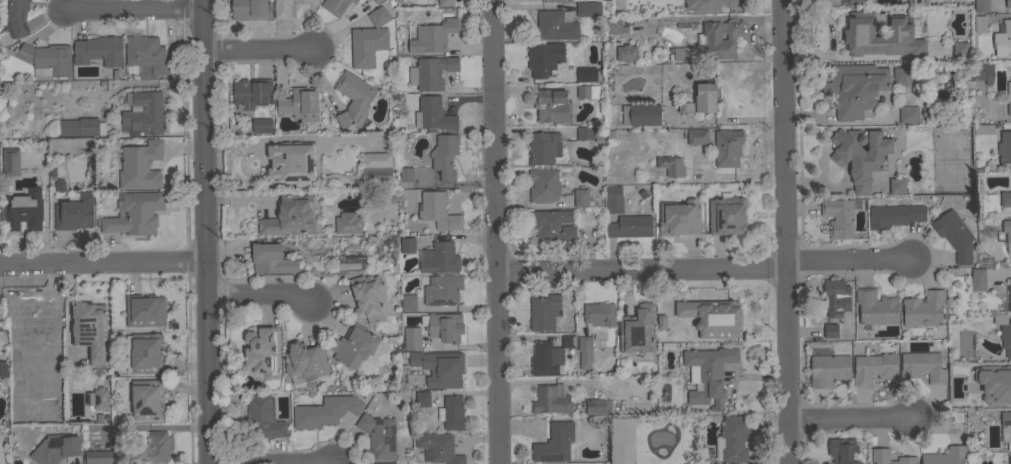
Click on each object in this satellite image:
building: (372, 1)
building: (378, 1)
building: (445, 2)
building: (858, 2)
building: (1008, 3)
building: (708, 4)
building: (981, 5)
building: (336, 6)
building: (285, 7)
building: (250, 9)
building: (588, 9)
road: (129, 10)
building: (16, 18)
building: (980, 24)
building: (556, 25)
building: (614, 25)
building: (689, 25)
building: (432, 36)
building: (880, 36)
building: (369, 39)
building: (720, 39)
building: (1004, 39)
building: (99, 50)
building: (960, 50)
building: (626, 52)
building: (146, 53)
road: (257, 53)
building: (683, 53)
building: (544, 58)
building: (47, 59)
building: (431, 72)
building: (978, 72)
building: (586, 74)
building: (903, 75)
building: (610, 77)
building: (855, 88)
building: (587, 91)
building: (251, 93)
building: (1009, 98)
building: (354, 99)
building: (701, 100)
building: (299, 104)
building: (553, 106)
building: (679, 108)
building: (144, 112)
building: (433, 114)
building: (908, 114)
building: (641, 115)
building: (262, 125)
building: (82, 126)
building: (983, 129)
building: (584, 132)
building: (697, 136)
road: (286, 137)
building: (727, 147)
building: (1004, 147)
building: (544, 148)
building: (444, 155)
building: (861, 155)
building: (28, 160)
building: (9, 162)
building: (291, 163)
building: (140, 165)
building: (671, 165)
building: (376, 168)
building: (406, 174)
building: (1010, 174)
building: (60, 185)
building: (544, 185)
building: (897, 185)
building: (581, 197)
building: (1005, 198)
building: (613, 200)
building: (23, 210)
building: (437, 210)
building: (74, 211)
building: (134, 213)
building: (727, 215)
building: (894, 215)
building: (840, 216)
building: (290, 217)
building: (679, 217)
building: (347, 222)
building: (552, 224)
building: (630, 226)
road: (50, 229)
building: (1007, 229)
road: (493, 231)
road: (783, 231)
road: (205, 232)
building: (954, 235)
building: (408, 245)
building: (439, 258)
building: (271, 259)
road: (846, 260)
building: (349, 262)
road: (102, 264)
road: (639, 269)
building: (978, 279)
building: (442, 289)
building: (1009, 293)
road: (260, 294)
building: (368, 297)
building: (836, 297)
building: (408, 302)
building: (32, 303)
building: (876, 307)
building: (924, 308)
building: (145, 310)
building: (544, 312)
building: (712, 317)
building: (597, 318)
building: (656, 323)
building: (445, 327)
building: (89, 329)
building: (637, 330)
building: (830, 330)
building: (1004, 333)
building: (412, 338)
building: (568, 339)
building: (357, 347)
building: (585, 351)
building: (147, 353)
building: (262, 353)
building: (543, 358)
building: (305, 361)
building: (923, 366)
building: (3, 368)
building: (440, 368)
building: (874, 368)
building: (974, 369)
building: (828, 370)
building: (708, 374)
building: (986, 398)
building: (99, 399)
building: (147, 399)
building: (423, 399)
building: (552, 400)
building: (597, 406)
building: (325, 411)
building: (452, 412)
building: (263, 417)
road: (848, 421)
building: (1006, 428)
building: (379, 436)
building: (734, 438)
building: (554, 442)
building: (56, 448)
building: (439, 448)
building: (843, 451)
building: (135, 452)
building: (880, 456)
building: (946, 456)
building: (1009, 458)
building: (384, 463)

